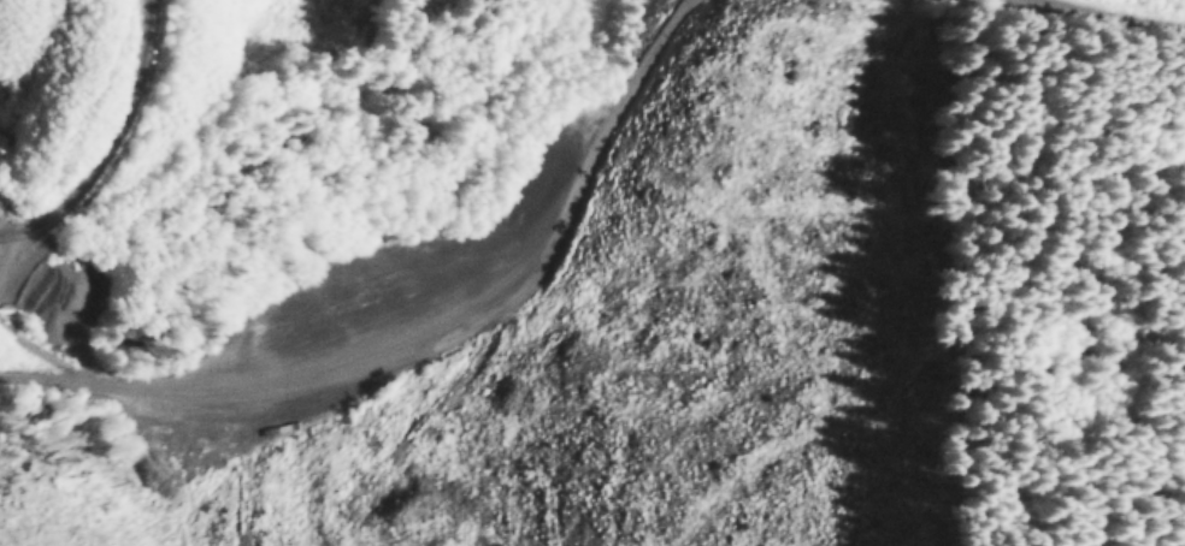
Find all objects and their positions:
road: (1102, 13)
road: (107, 143)
quarry: (429, 233)
road: (431, 346)

